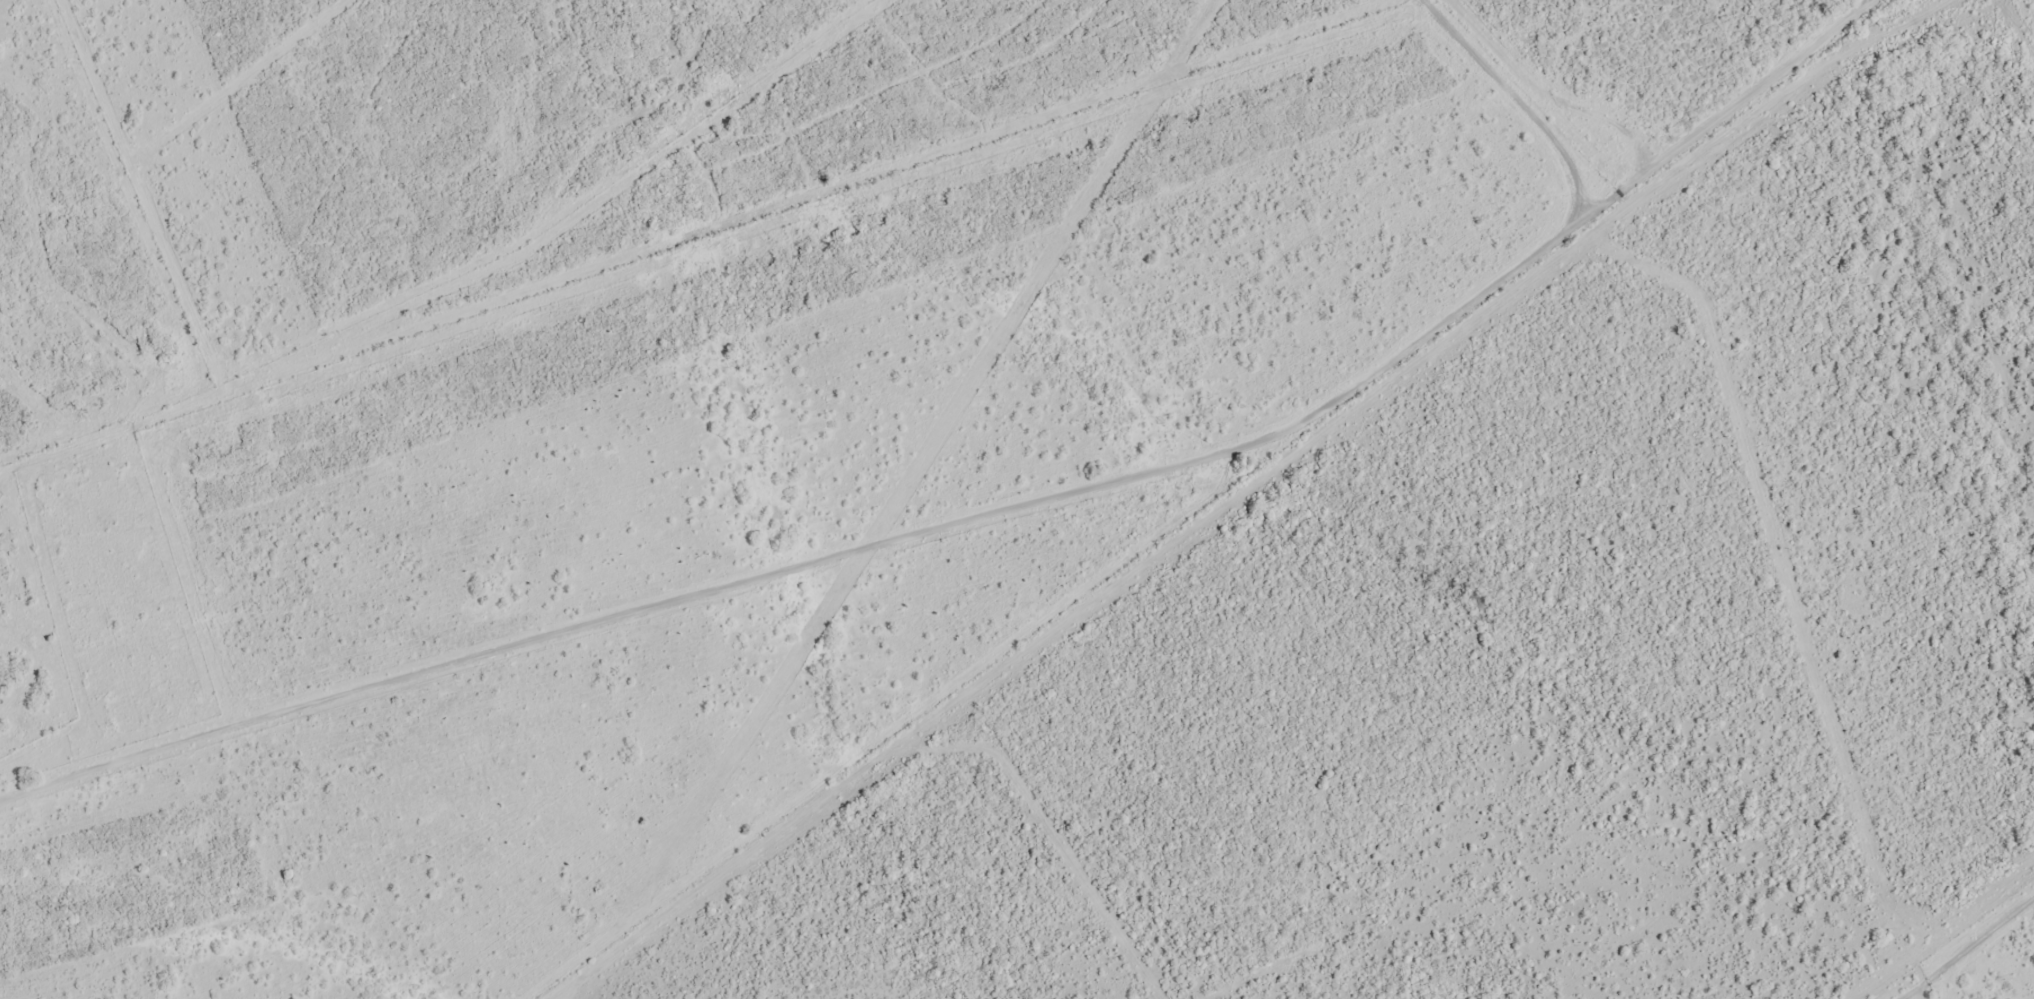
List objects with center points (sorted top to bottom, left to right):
road: (1293, 485)
road: (989, 511)

